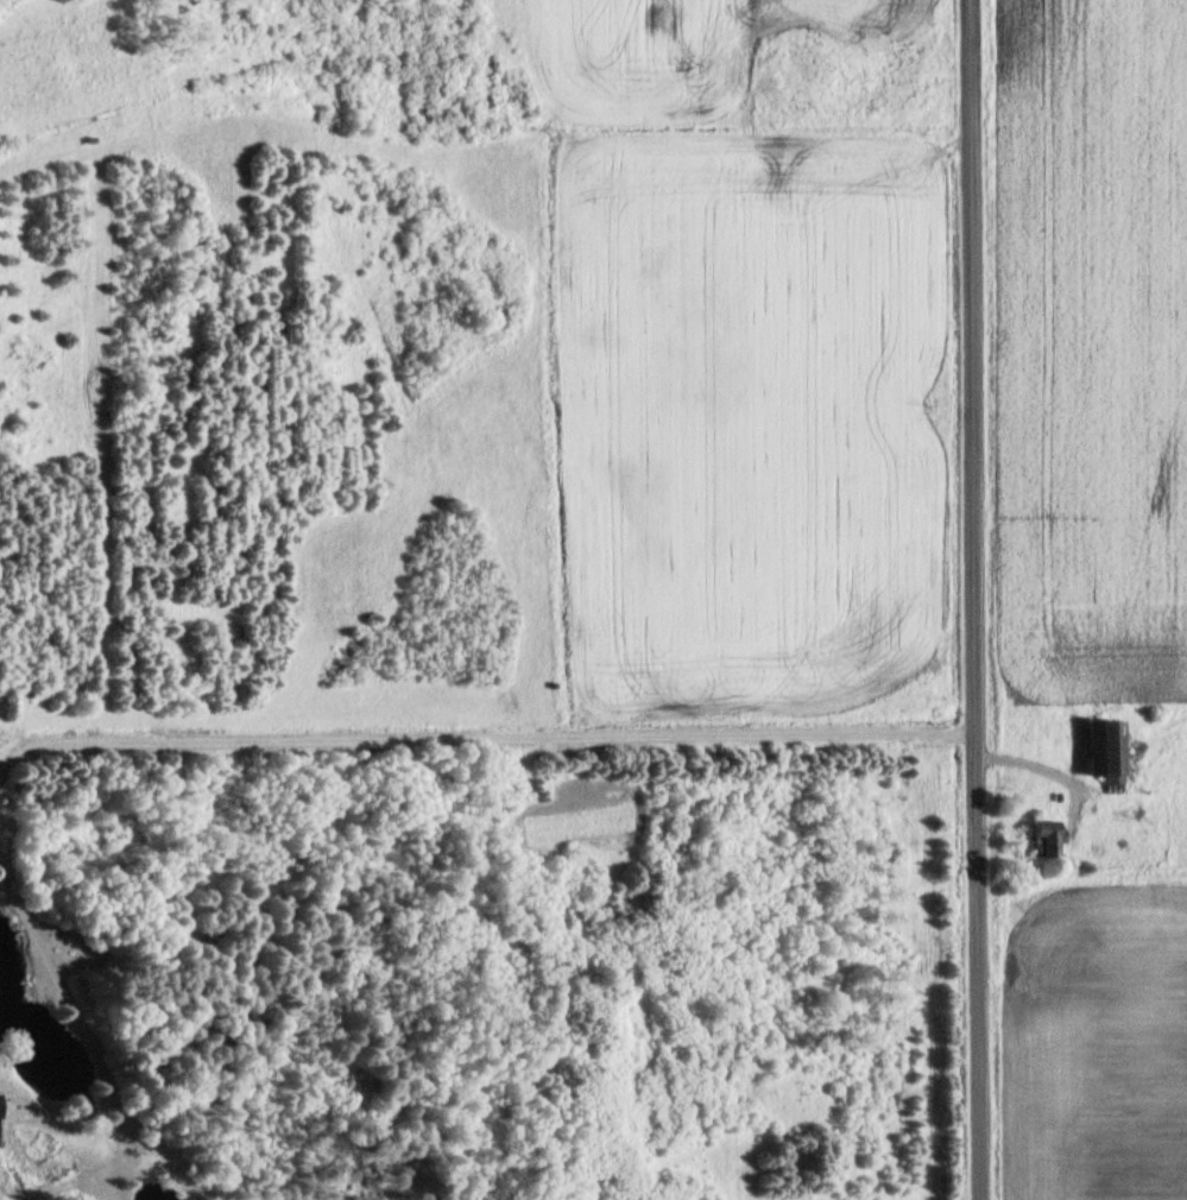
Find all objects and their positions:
road: (977, 600)
building: (1111, 751)
building: (1050, 838)
building: (1, 1105)

